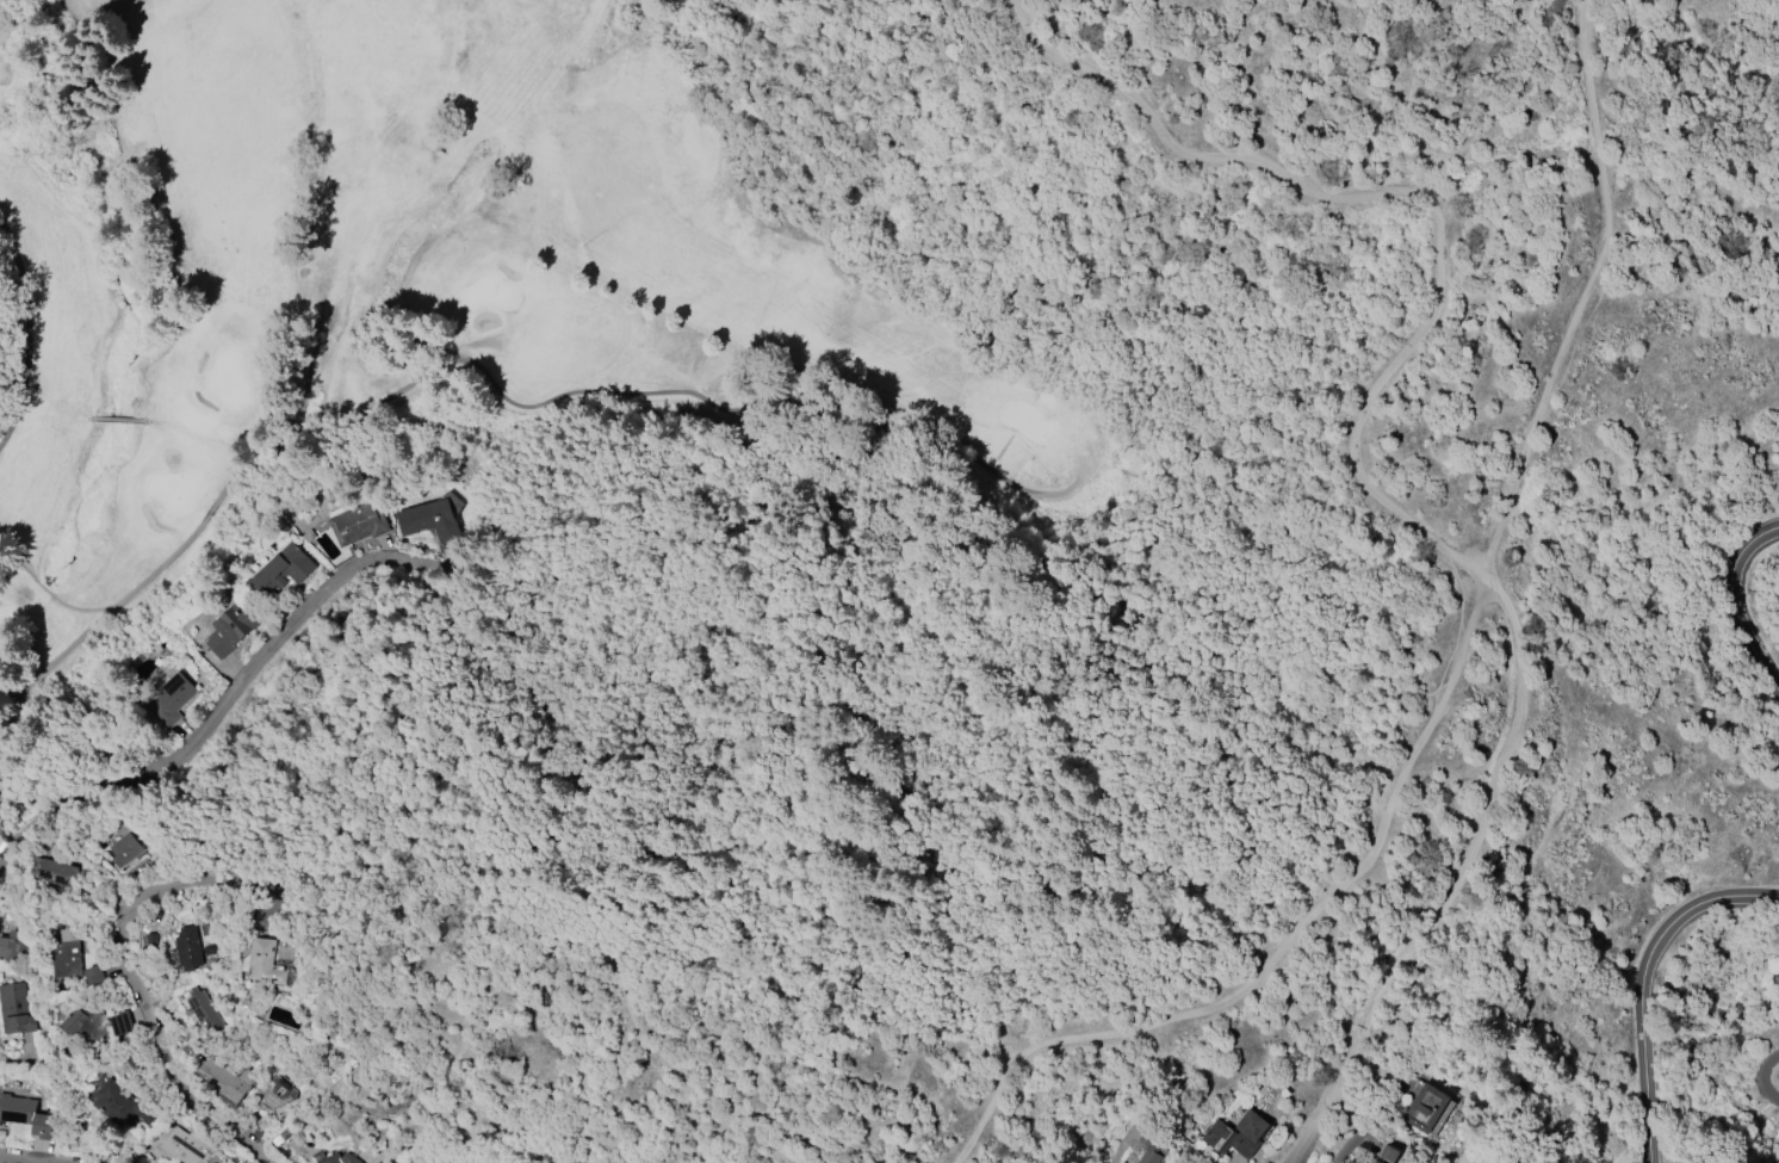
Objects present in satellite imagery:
park: (408, 279)
park: (485, 291)
road: (1588, 291)
road: (18, 334)
park: (227, 381)
road: (718, 398)
park: (1024, 412)
road: (1370, 483)
park: (175, 489)
building: (428, 520)
building: (359, 522)
road: (172, 550)
building: (283, 568)
road: (1744, 607)
building: (233, 627)
road: (289, 630)
road: (62, 647)
road: (949, 678)
building: (169, 699)
road: (414, 781)
road: (81, 799)
building: (125, 849)
building: (57, 872)
road: (513, 877)
road: (1289, 946)
building: (10, 948)
building: (188, 948)
building: (66, 957)
building: (266, 964)
building: (94, 975)
road: (1650, 988)
road: (140, 995)
building: (16, 1009)
building: (203, 1013)
building: (76, 1023)
road: (1761, 1078)
building: (228, 1080)
building: (275, 1093)
building: (120, 1103)
building: (17, 1109)
building: (1427, 1109)
road: (1372, 1122)
building: (1220, 1133)
building: (185, 1146)
building: (1148, 1152)
building: (336, 1158)
road: (11, 1161)
building: (1375, 1162)

